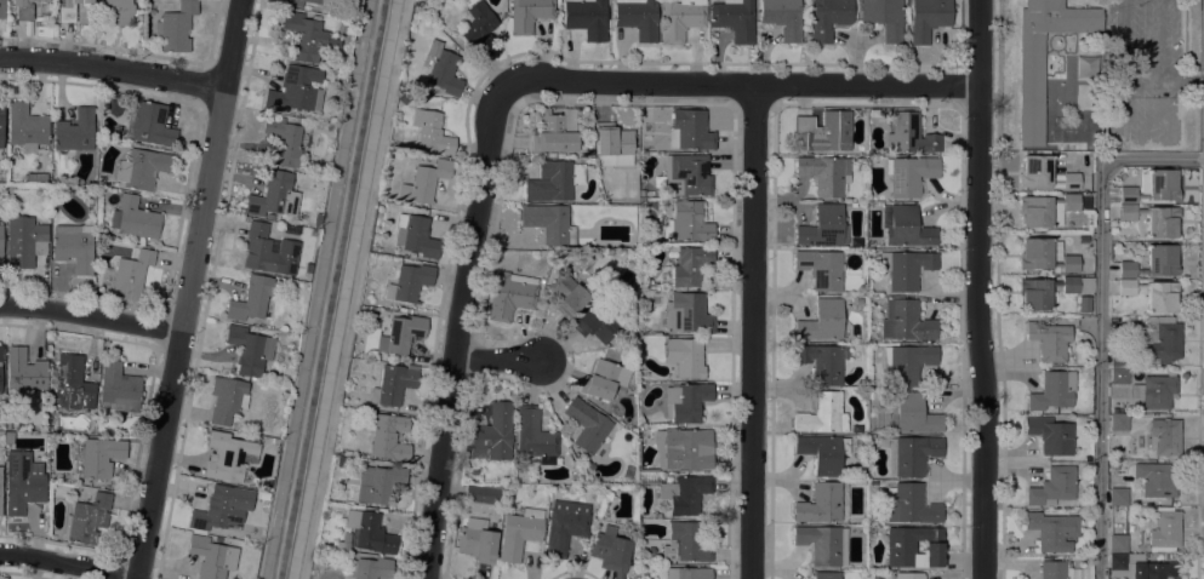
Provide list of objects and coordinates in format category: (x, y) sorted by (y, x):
building: (292, 4)
building: (2, 8)
building: (22, 8)
building: (68, 10)
building: (116, 11)
building: (527, 15)
building: (638, 17)
building: (782, 17)
building: (884, 17)
building: (586, 18)
building: (680, 18)
building: (734, 18)
building: (828, 18)
building: (928, 18)
building: (477, 25)
building: (175, 27)
building: (307, 35)
building: (1043, 57)
road: (113, 68)
building: (441, 69)
road: (742, 84)
building: (295, 90)
building: (856, 113)
building: (147, 122)
building: (1, 124)
building: (27, 128)
building: (690, 130)
building: (74, 131)
building: (430, 131)
building: (554, 131)
building: (647, 131)
building: (822, 132)
building: (909, 134)
building: (285, 139)
building: (612, 144)
building: (1079, 145)
building: (141, 168)
building: (824, 173)
building: (1045, 173)
building: (909, 174)
building: (41, 176)
building: (685, 176)
building: (553, 180)
building: (423, 182)
building: (1152, 187)
building: (273, 195)
building: (641, 203)
building: (1044, 208)
building: (269, 216)
building: (135, 218)
building: (315, 218)
building: (1153, 219)
building: (687, 222)
building: (548, 223)
building: (905, 225)
building: (823, 227)
building: (413, 235)
building: (24, 241)
building: (1, 246)
building: (74, 246)
building: (261, 250)
building: (410, 256)
building: (1043, 256)
building: (1153, 262)
building: (690, 265)
building: (906, 268)
building: (821, 269)
building: (131, 274)
building: (407, 282)
road: (187, 288)
road: (354, 289)
road: (980, 289)
building: (1049, 289)
building: (510, 294)
building: (567, 294)
building: (1153, 294)
building: (250, 298)
building: (1084, 303)
building: (686, 313)
road: (90, 316)
road: (1100, 320)
building: (598, 321)
building: (821, 321)
building: (905, 321)
road: (460, 328)
road: (754, 332)
building: (400, 333)
building: (1049, 339)
building: (1162, 339)
building: (249, 349)
building: (1, 351)
building: (685, 356)
building: (1118, 359)
road: (498, 360)
building: (821, 362)
building: (907, 362)
building: (24, 371)
building: (1118, 376)
building: (600, 379)
building: (72, 384)
building: (392, 384)
building: (118, 389)
building: (1052, 390)
building: (1156, 390)
building: (227, 399)
building: (686, 401)
building: (822, 413)
building: (914, 414)
building: (1118, 422)
building: (588, 425)
building: (493, 434)
building: (386, 435)
building: (535, 435)
building: (1050, 435)
building: (1164, 436)
building: (684, 448)
building: (822, 452)
building: (230, 454)
building: (911, 454)
building: (99, 457)
building: (1154, 478)
building: (22, 481)
building: (381, 485)
building: (1052, 486)
building: (0, 489)
building: (678, 491)
building: (262, 494)
building: (1118, 495)
building: (480, 499)
building: (820, 504)
building: (909, 504)
building: (222, 508)
building: (87, 518)
building: (564, 526)
building: (369, 531)
building: (1052, 531)
building: (1164, 531)
building: (519, 532)
building: (477, 540)
building: (685, 543)
building: (1118, 543)
building: (823, 544)
building: (912, 545)
building: (610, 550)
building: (211, 556)
building: (1117, 561)
road: (68, 562)
building: (371, 568)
building: (1054, 569)
building: (1153, 571)
building: (687, 573)
building: (826, 574)
building: (908, 575)

